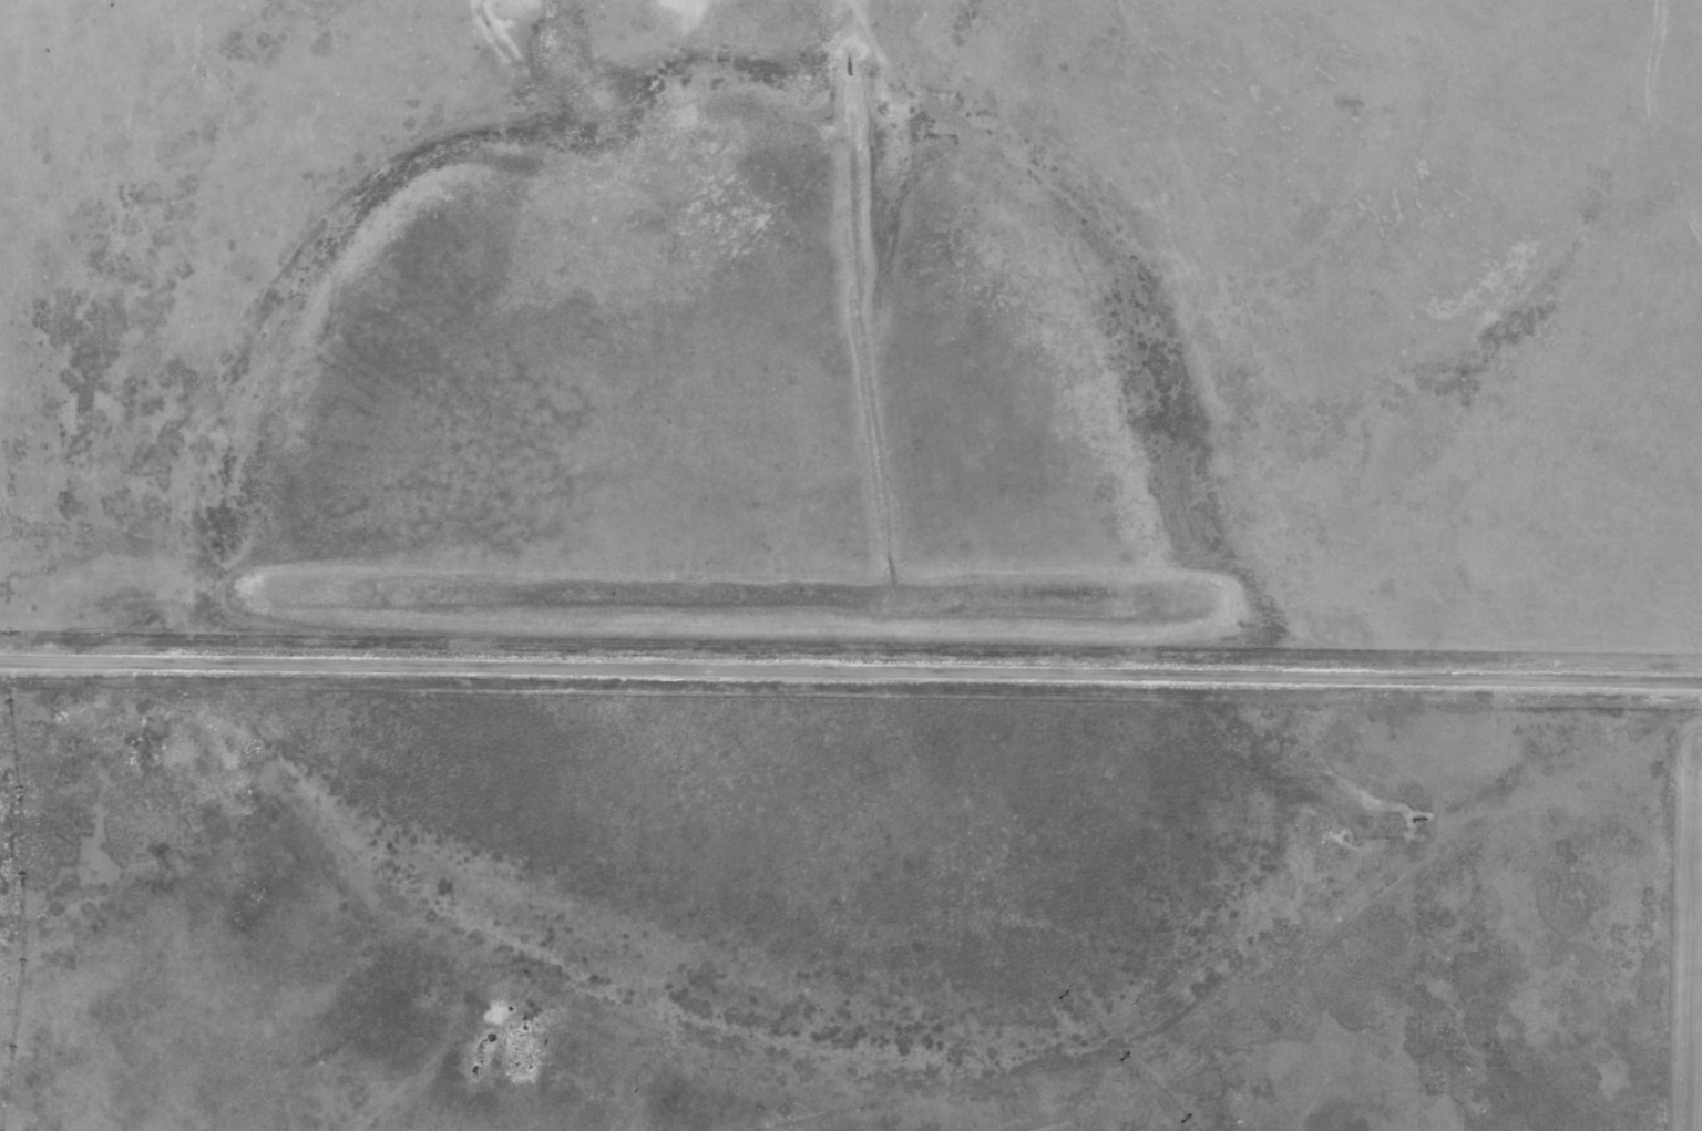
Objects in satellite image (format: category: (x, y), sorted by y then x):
road: (851, 669)

